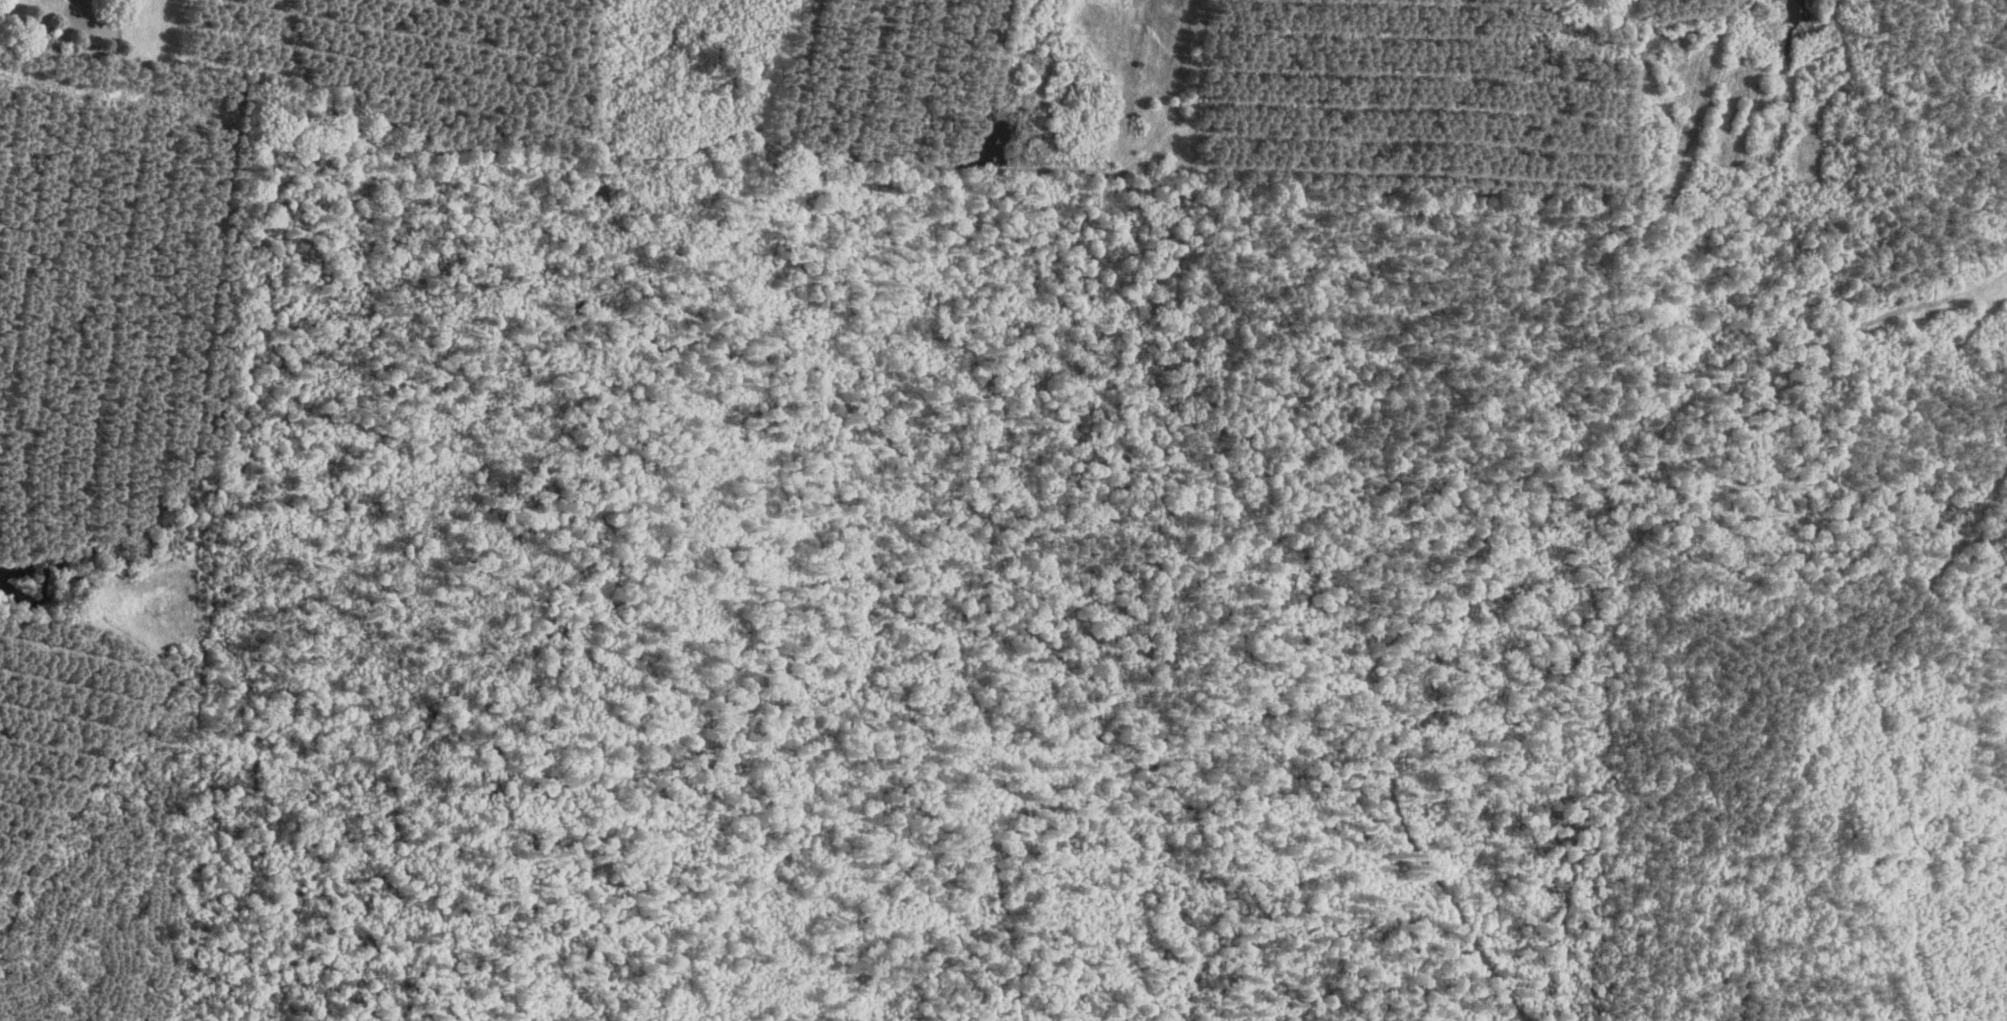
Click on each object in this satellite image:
building: (66, 0)

